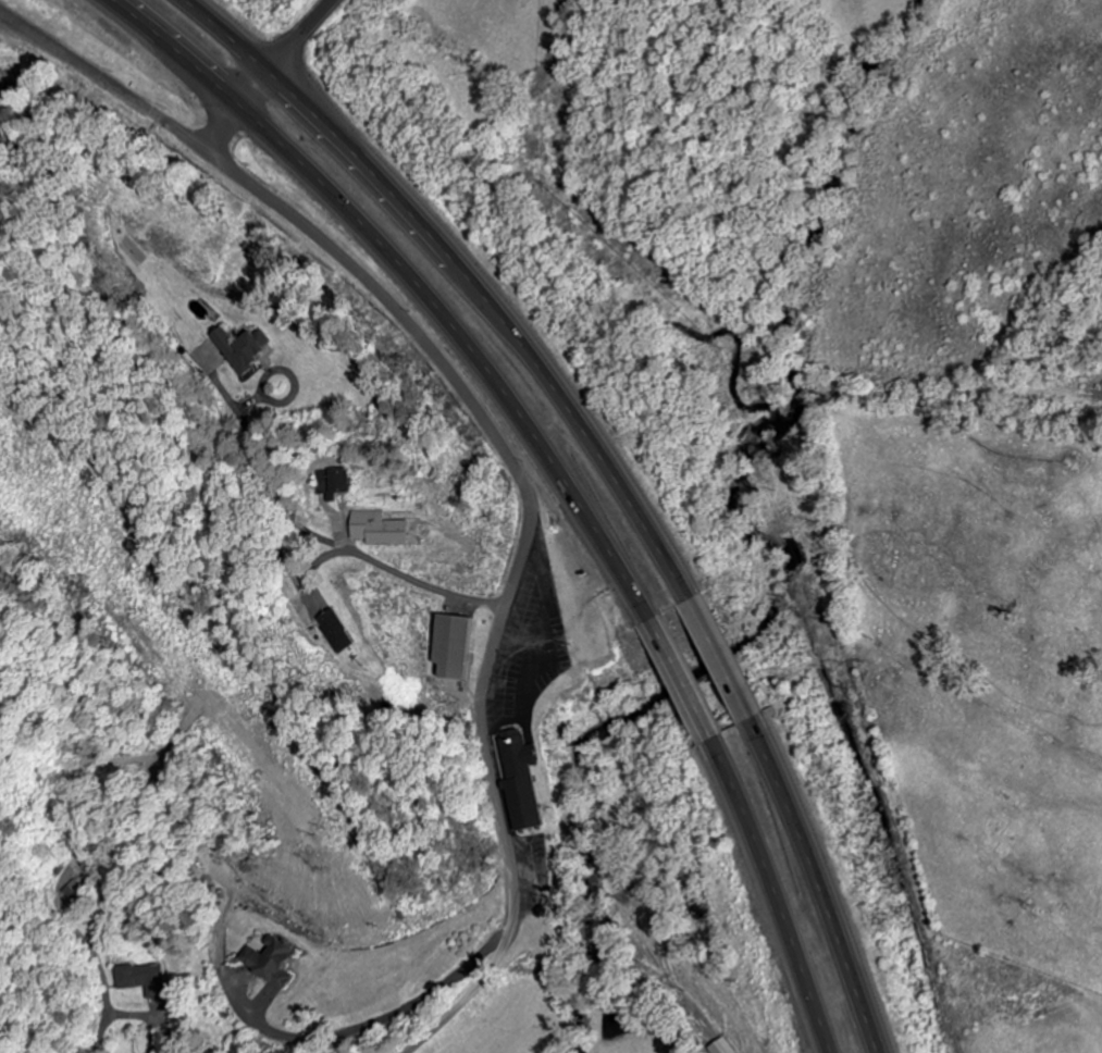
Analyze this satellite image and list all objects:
road: (233, 35)
road: (174, 51)
road: (289, 54)
road: (102, 83)
road: (223, 129)
building: (249, 350)
building: (342, 482)
road: (648, 518)
building: (382, 530)
road: (602, 538)
road: (525, 560)
building: (340, 633)
building: (460, 648)
building: (528, 780)
building: (277, 963)
building: (143, 980)

